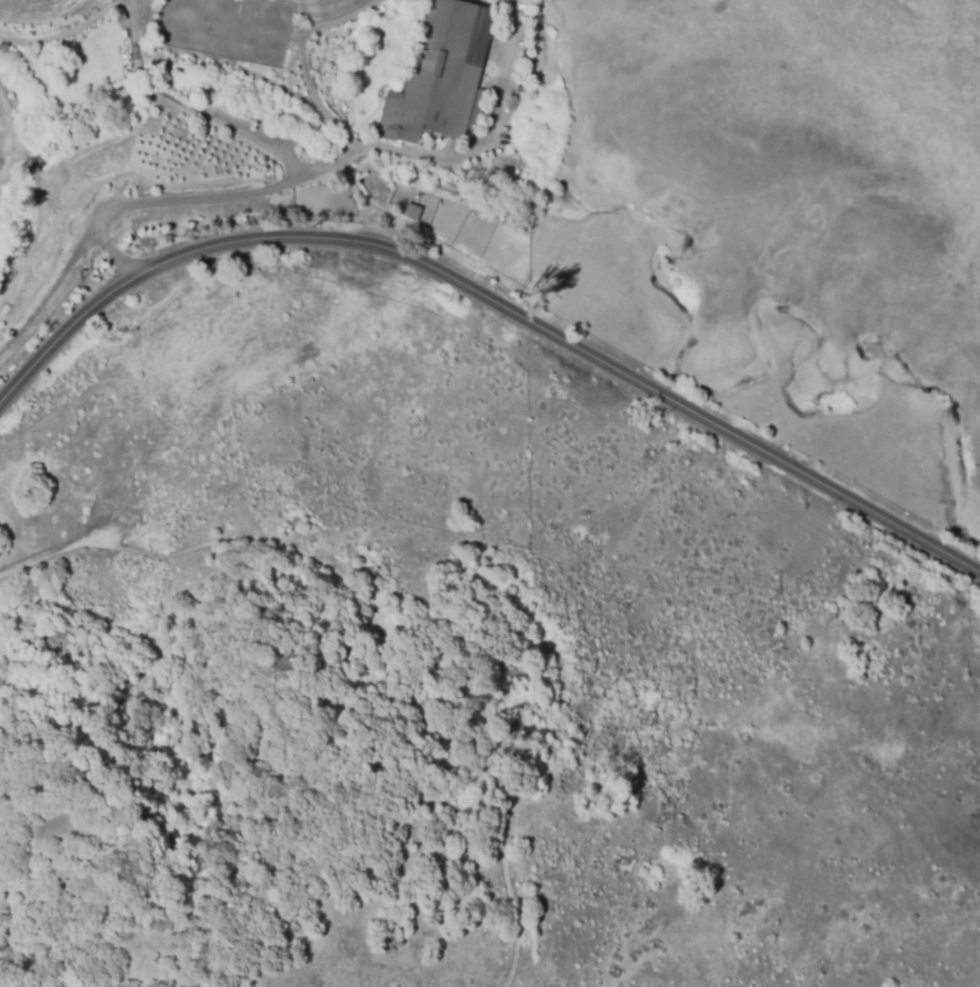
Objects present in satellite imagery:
building: (122, 19)
road: (65, 34)
building: (4, 49)
road: (306, 61)
building: (441, 75)
road: (461, 156)
road: (290, 183)
building: (293, 213)
building: (410, 216)
road: (490, 300)

